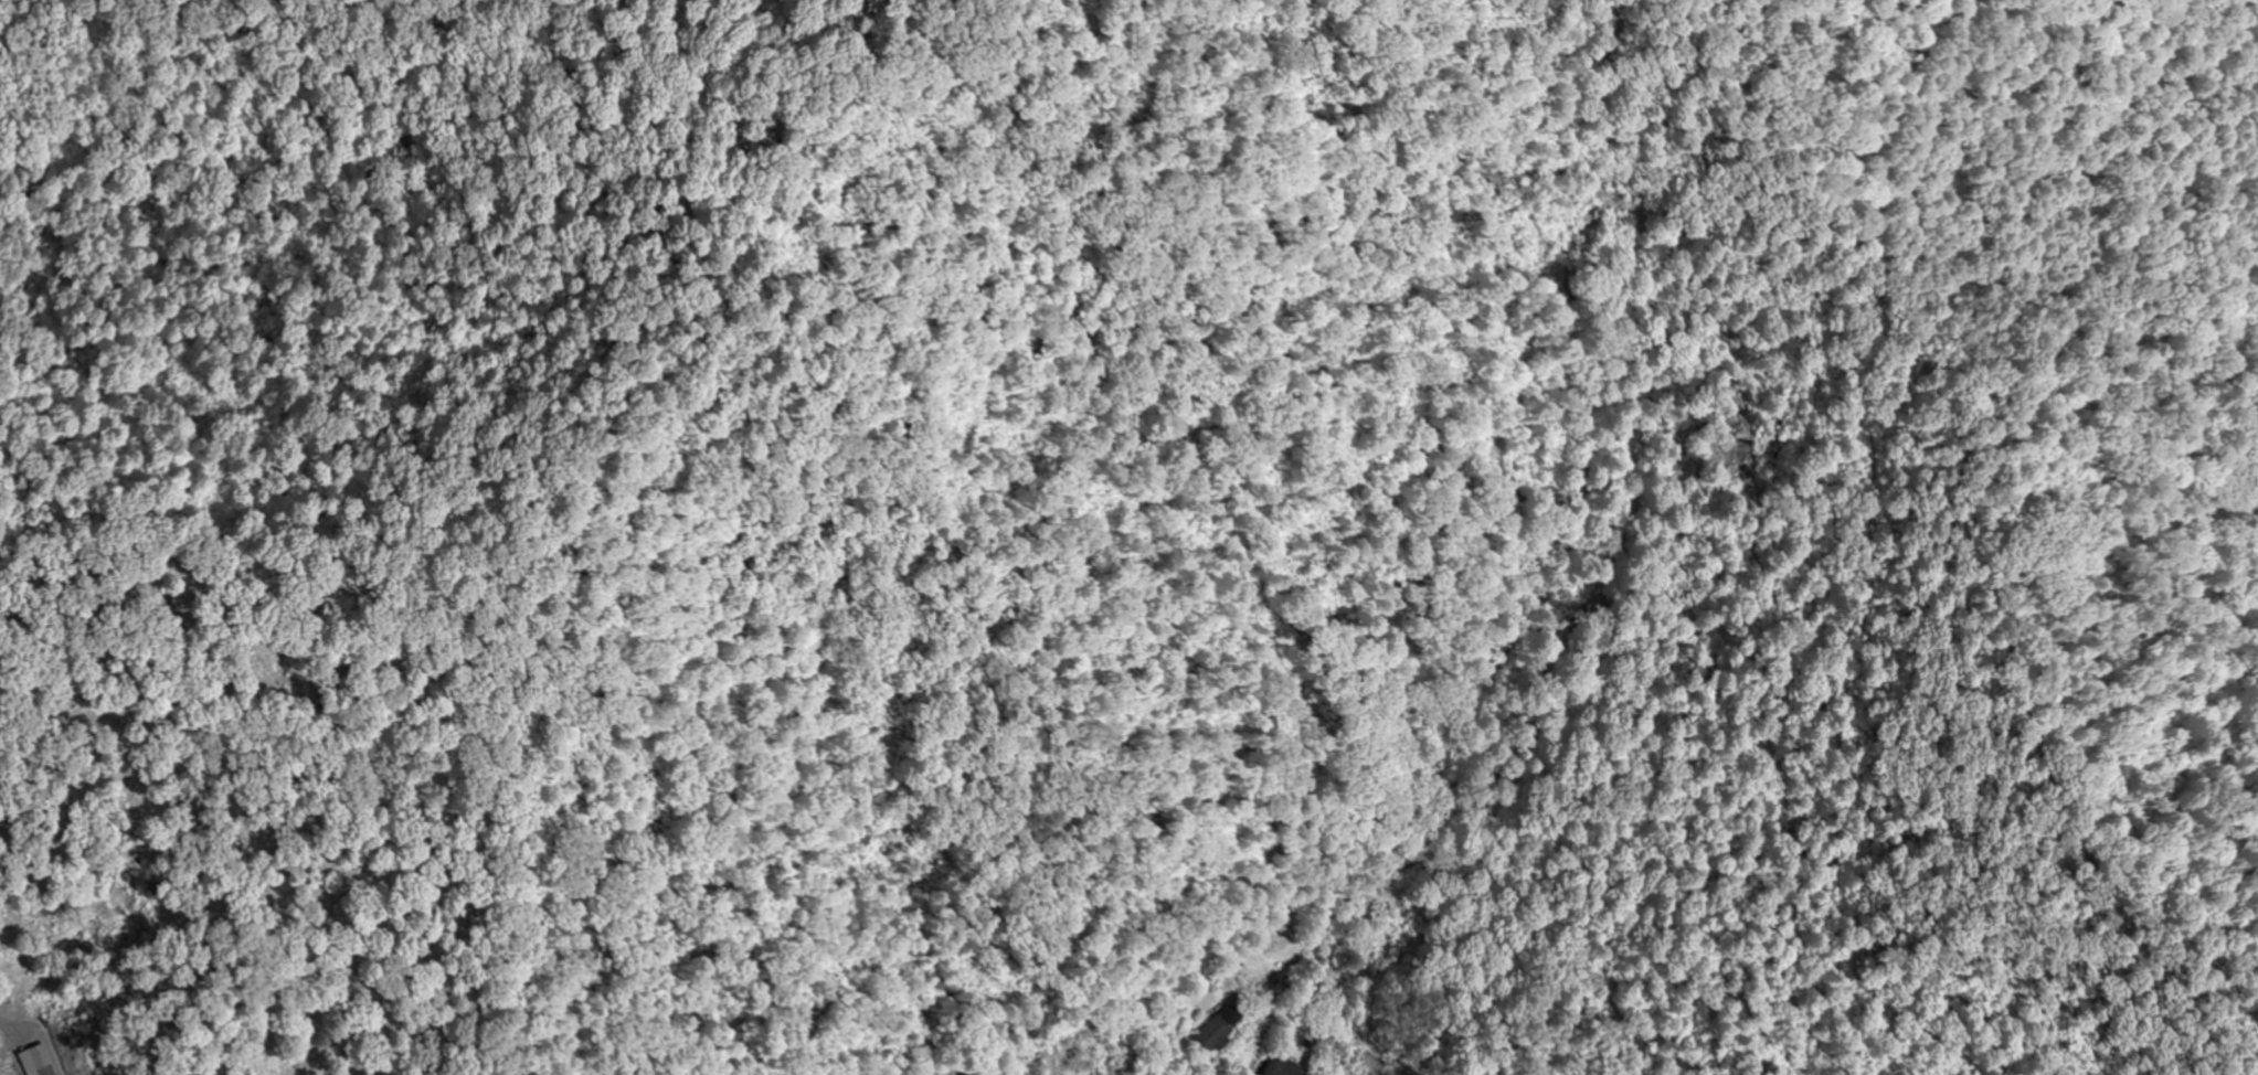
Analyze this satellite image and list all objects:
road: (1268, 967)
building: (1208, 1029)
building: (34, 1060)
building: (1279, 1066)

